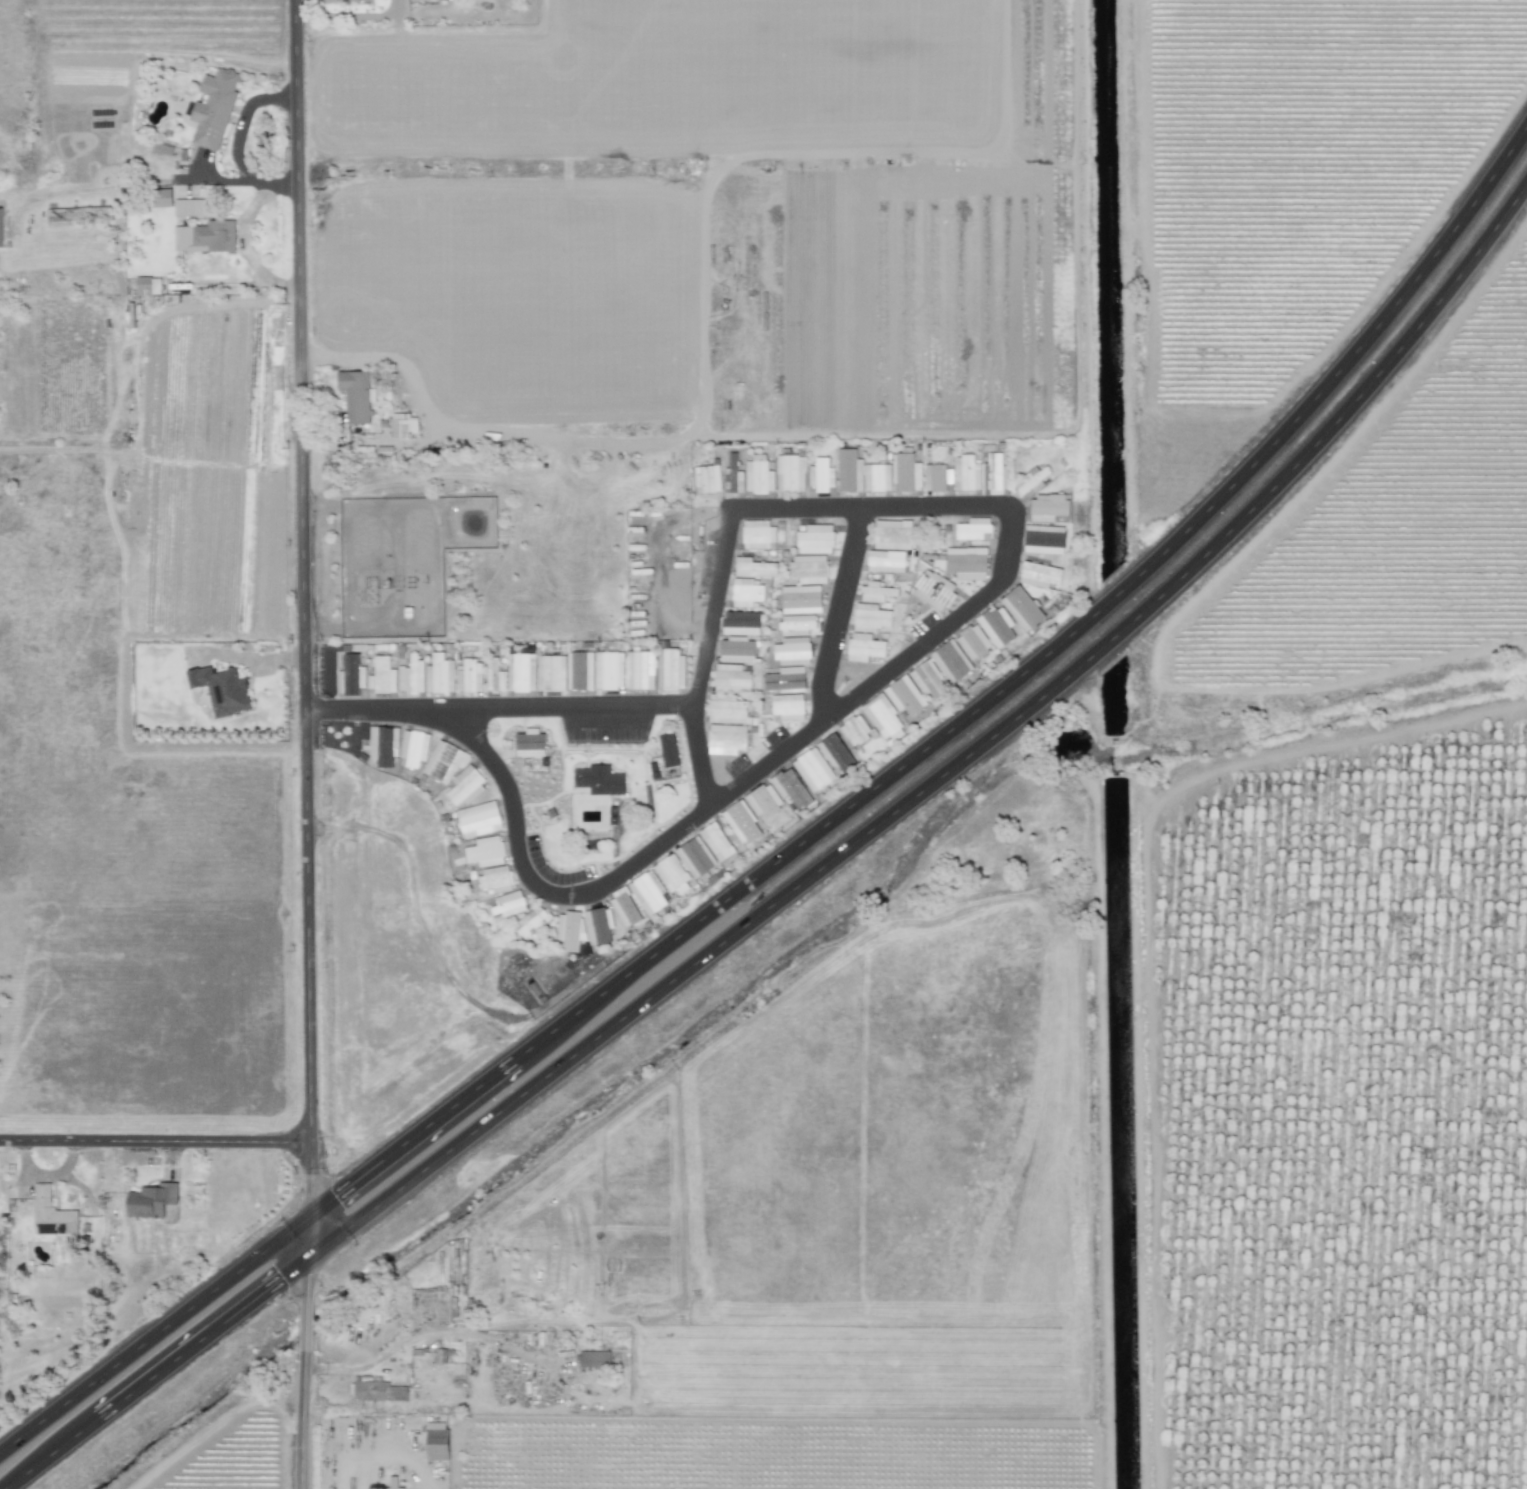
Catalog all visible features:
building: (347, 1)
building: (213, 108)
road: (242, 119)
road: (249, 180)
building: (161, 198)
building: (190, 207)
building: (61, 216)
building: (205, 237)
road: (245, 249)
building: (147, 286)
road: (389, 358)
building: (354, 395)
building: (402, 425)
building: (849, 471)
building: (996, 472)
building: (789, 473)
building: (906, 473)
building: (967, 473)
building: (732, 475)
building: (758, 475)
building: (821, 475)
building: (877, 477)
building: (937, 477)
building: (706, 479)
building: (1031, 480)
building: (1047, 507)
building: (973, 529)
building: (892, 534)
building: (757, 535)
building: (815, 539)
building: (1044, 539)
building: (885, 561)
building: (966, 563)
building: (754, 568)
building: (808, 569)
building: (1039, 574)
building: (933, 591)
building: (746, 592)
building: (875, 592)
building: (800, 599)
building: (1022, 608)
road: (840, 615)
building: (870, 617)
building: (740, 623)
building: (798, 624)
building: (996, 626)
building: (972, 642)
road: (306, 643)
building: (863, 647)
building: (792, 651)
building: (950, 661)
building: (669, 668)
road: (895, 669)
building: (579, 670)
building: (608, 670)
building: (642, 670)
building: (521, 672)
building: (415, 673)
building: (550, 673)
building: (439, 674)
building: (350, 675)
building: (381, 676)
building: (469, 676)
building: (494, 677)
building: (731, 678)
building: (402, 679)
building: (928, 680)
building: (221, 690)
building: (904, 696)
building: (787, 707)
road: (573, 708)
building: (883, 718)
building: (855, 730)
building: (726, 739)
building: (529, 744)
building: (383, 745)
building: (413, 747)
building: (668, 750)
building: (835, 752)
building: (443, 763)
building: (813, 770)
building: (598, 780)
building: (465, 785)
building: (790, 788)
building: (764, 801)
building: (478, 819)
building: (741, 822)
building: (716, 841)
road: (808, 843)
building: (485, 851)
building: (695, 857)
building: (671, 875)
building: (494, 879)
road: (807, 881)
building: (648, 892)
building: (508, 904)
building: (624, 907)
road: (415, 912)
building: (532, 921)
building: (596, 926)
building: (569, 930)
road: (156, 1142)
building: (50, 1214)
road: (308, 1311)
building: (594, 1358)
building: (368, 1389)
road: (305, 1412)
building: (436, 1441)
building: (392, 1483)

